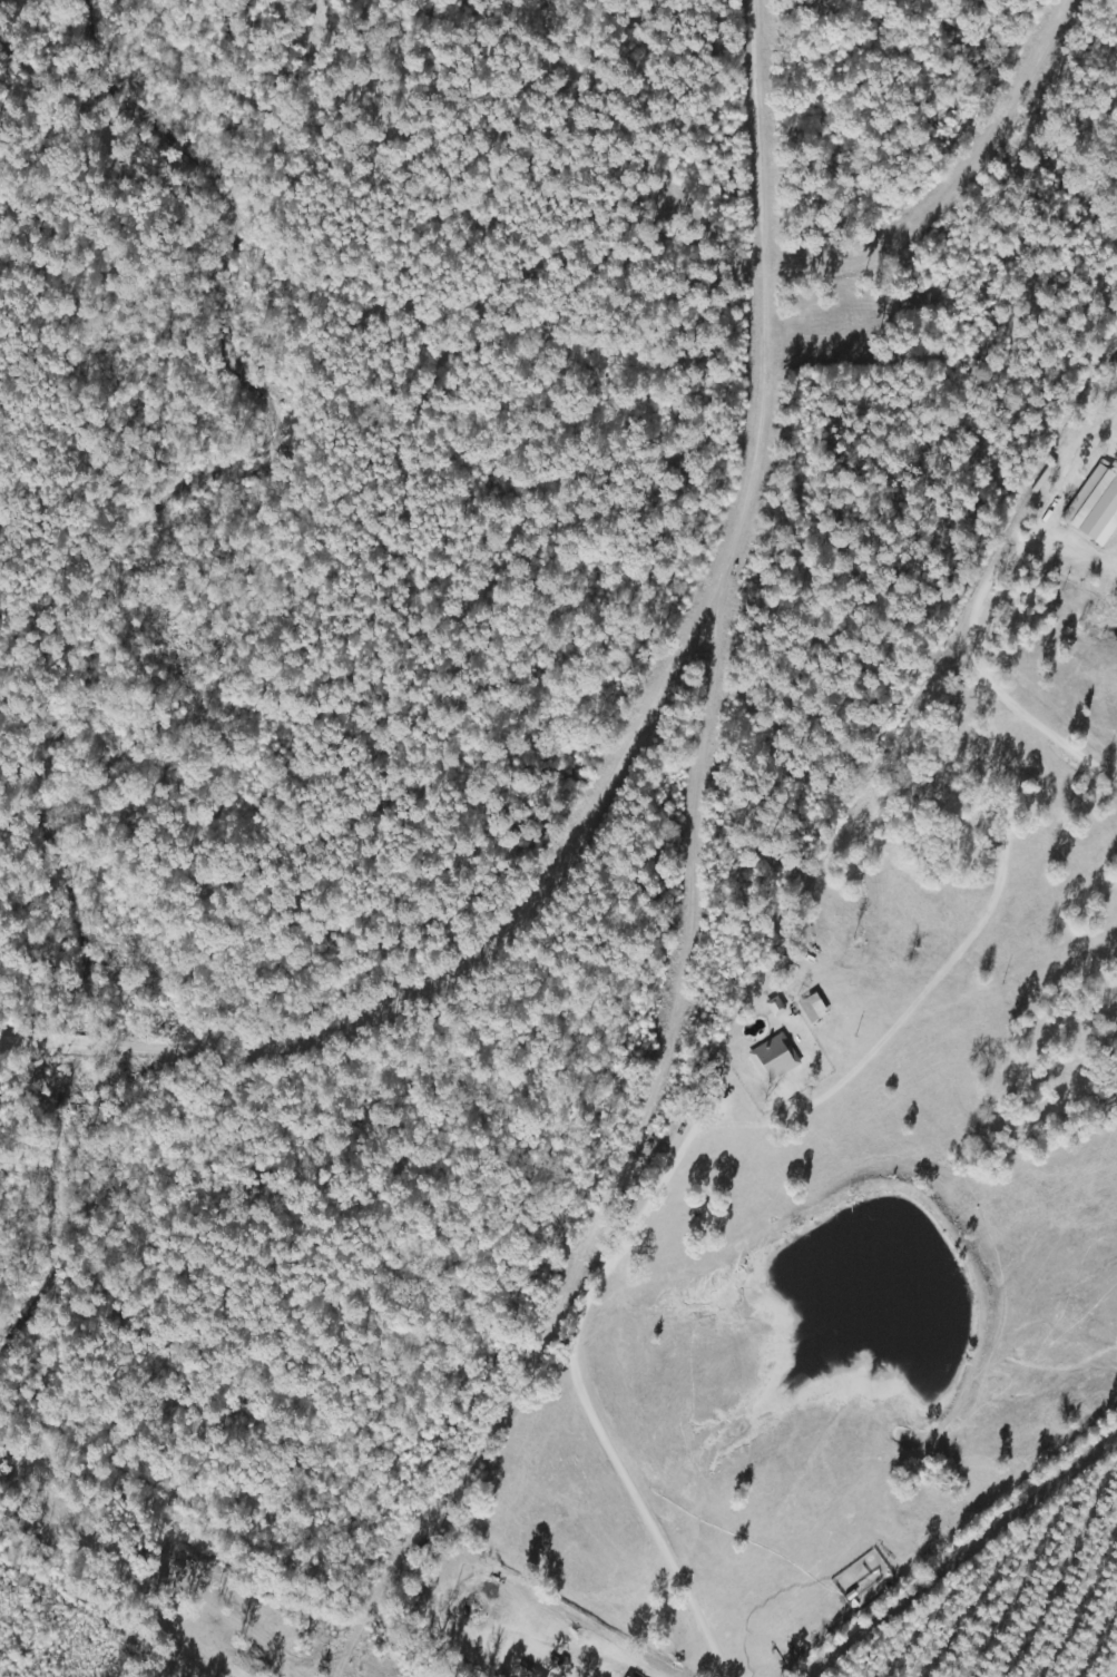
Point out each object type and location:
road: (923, 154)
road: (639, 736)
building: (812, 1010)
building: (774, 1060)
road: (961, 1555)

